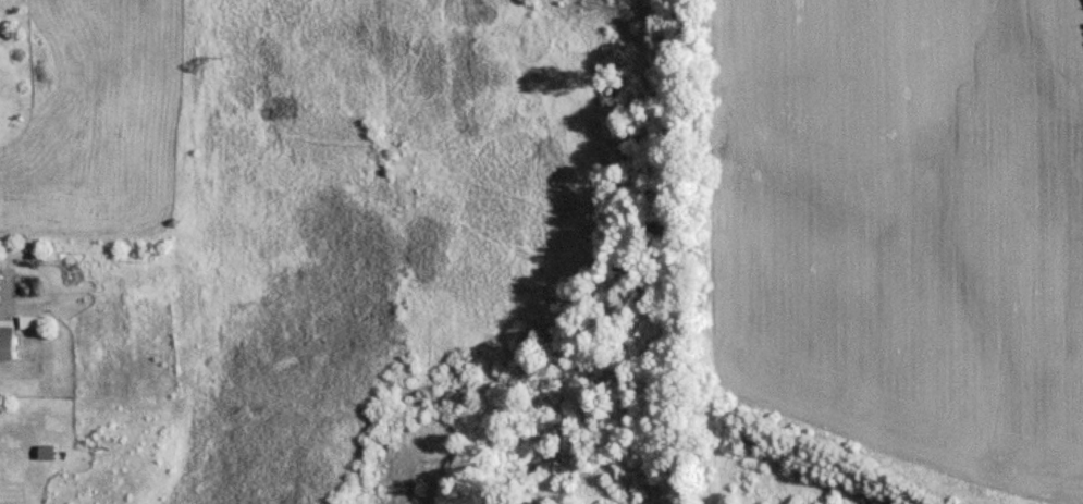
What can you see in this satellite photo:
building: (7, 343)
building: (46, 451)

